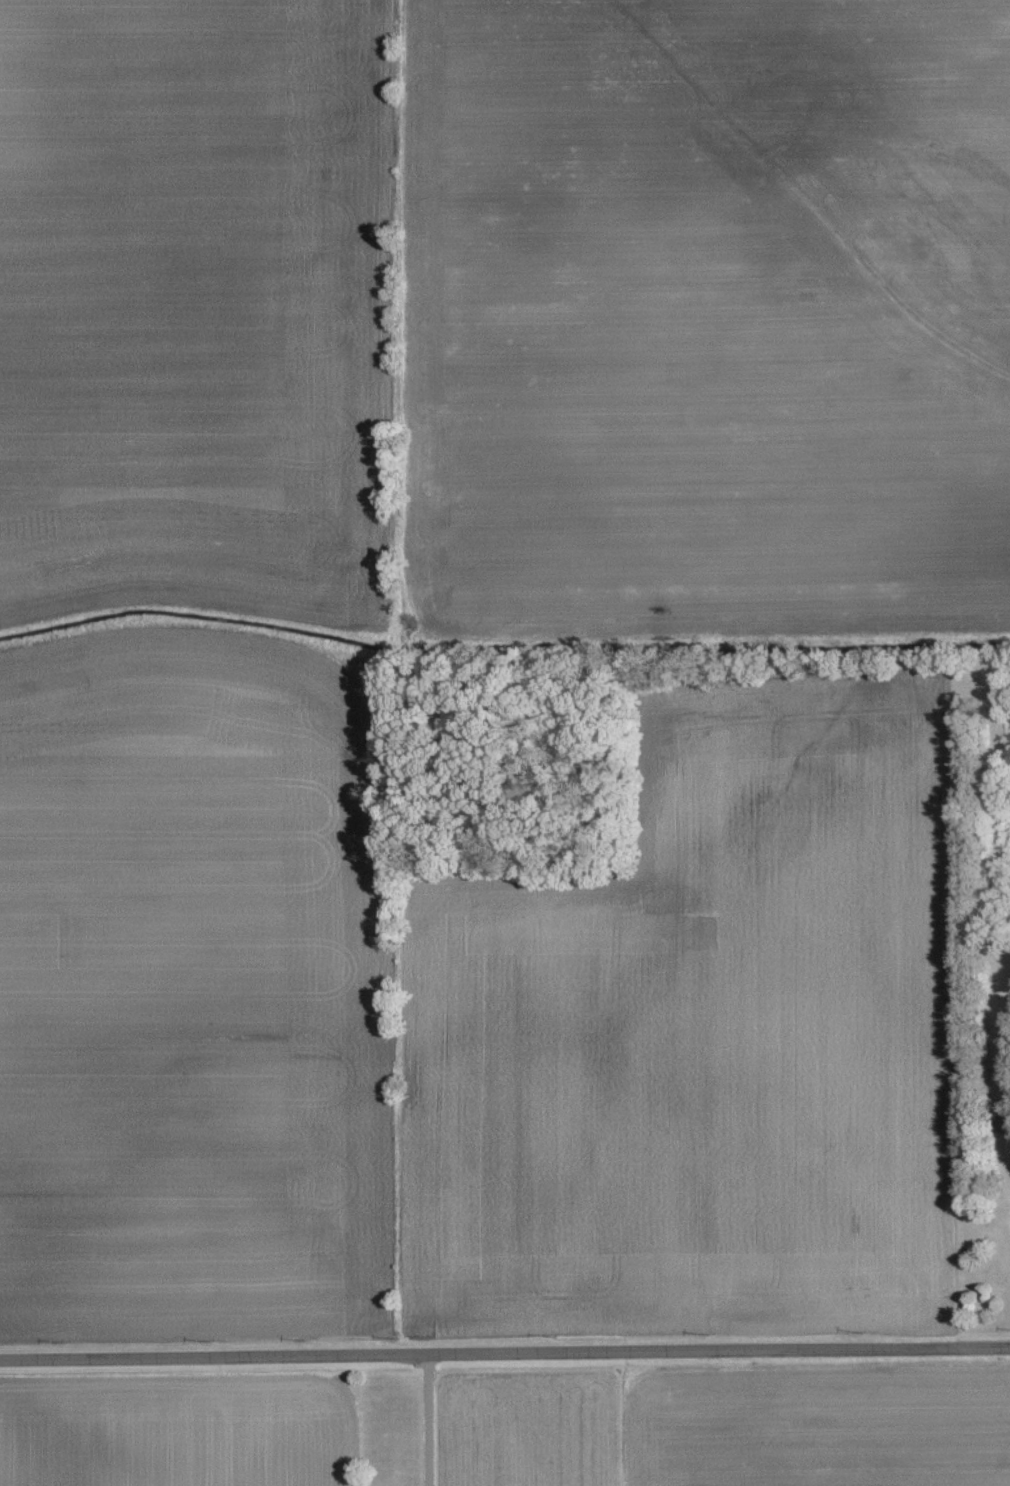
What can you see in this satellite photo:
road: (504, 1352)
road: (428, 1420)

